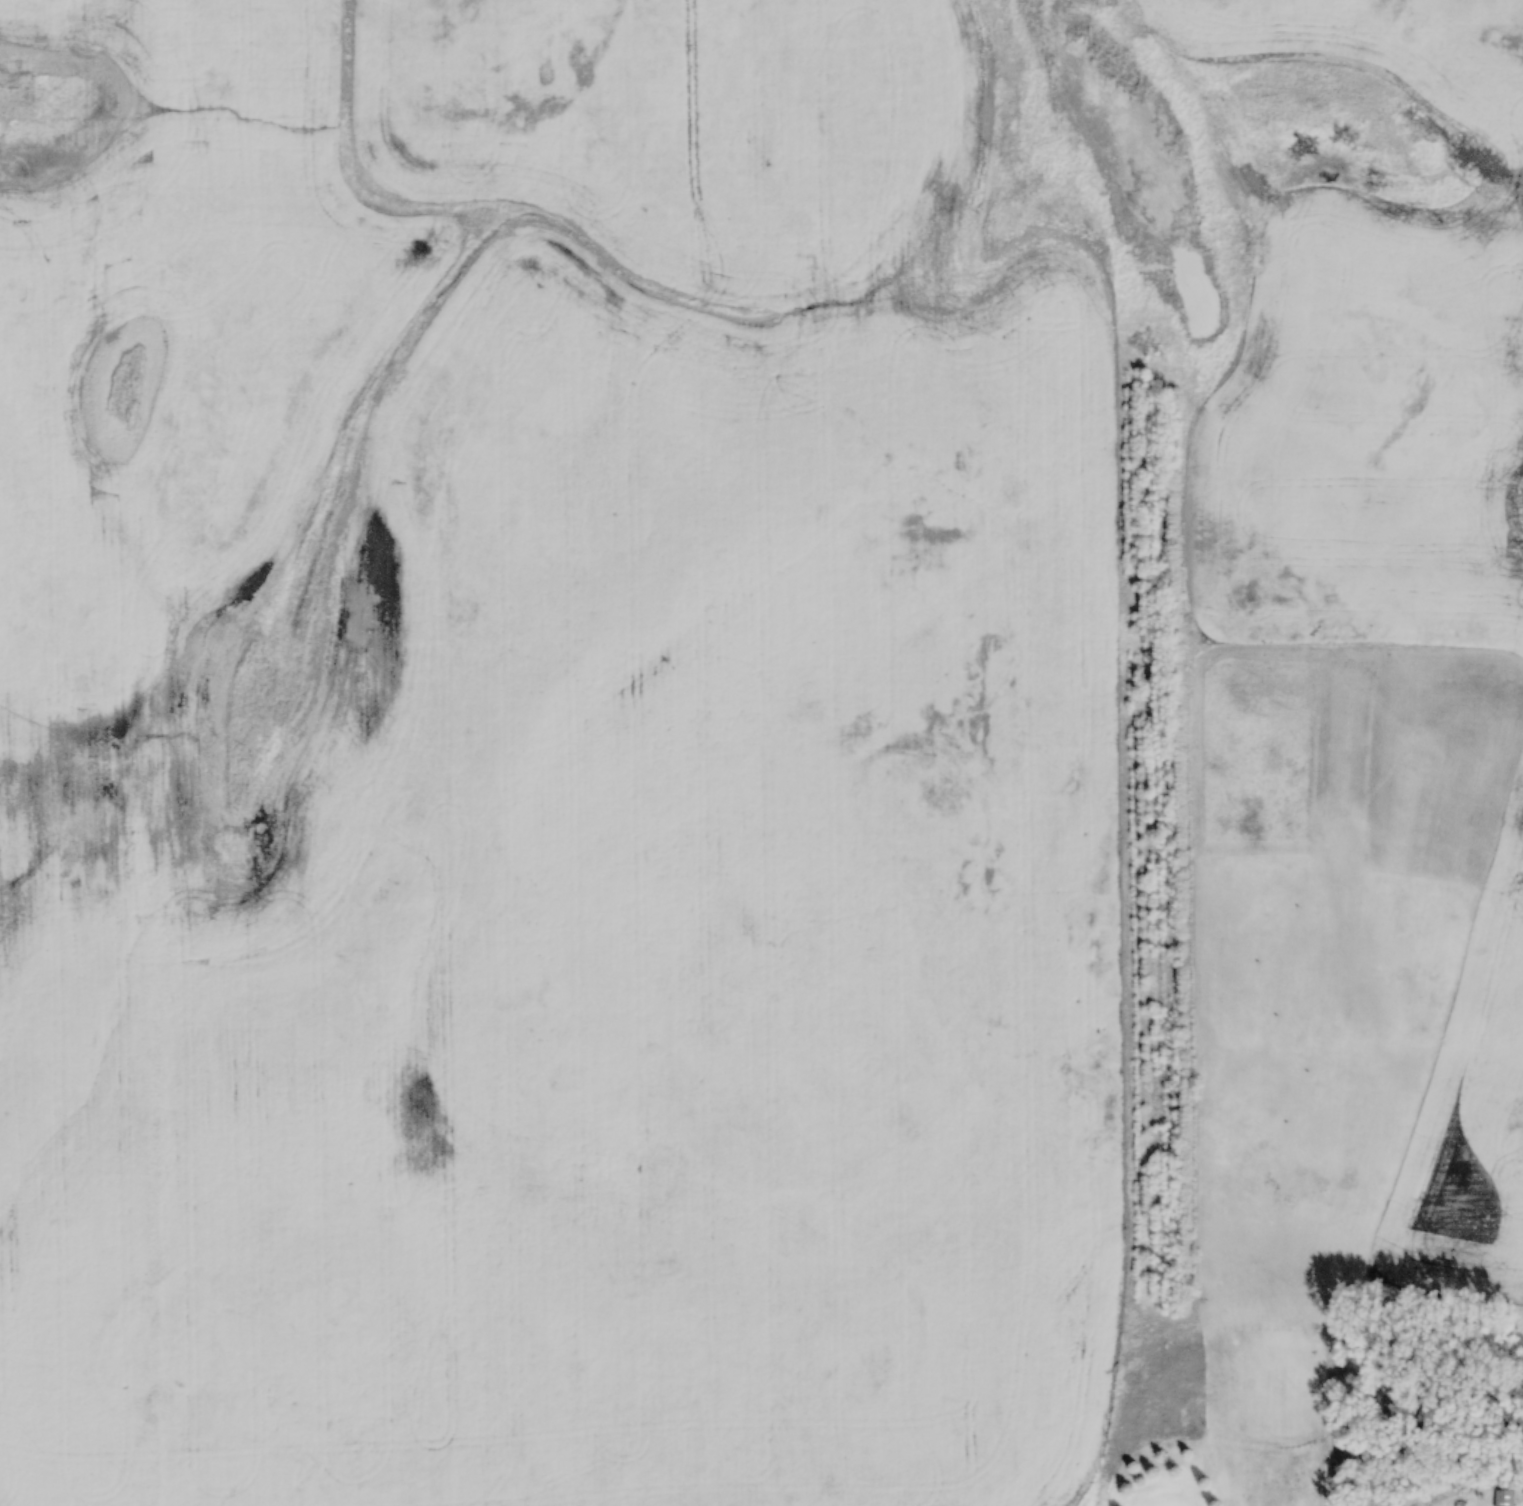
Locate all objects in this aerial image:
park: (1305, 1427)
road: (1321, 1469)
building: (1502, 1495)
building: (1456, 1502)

